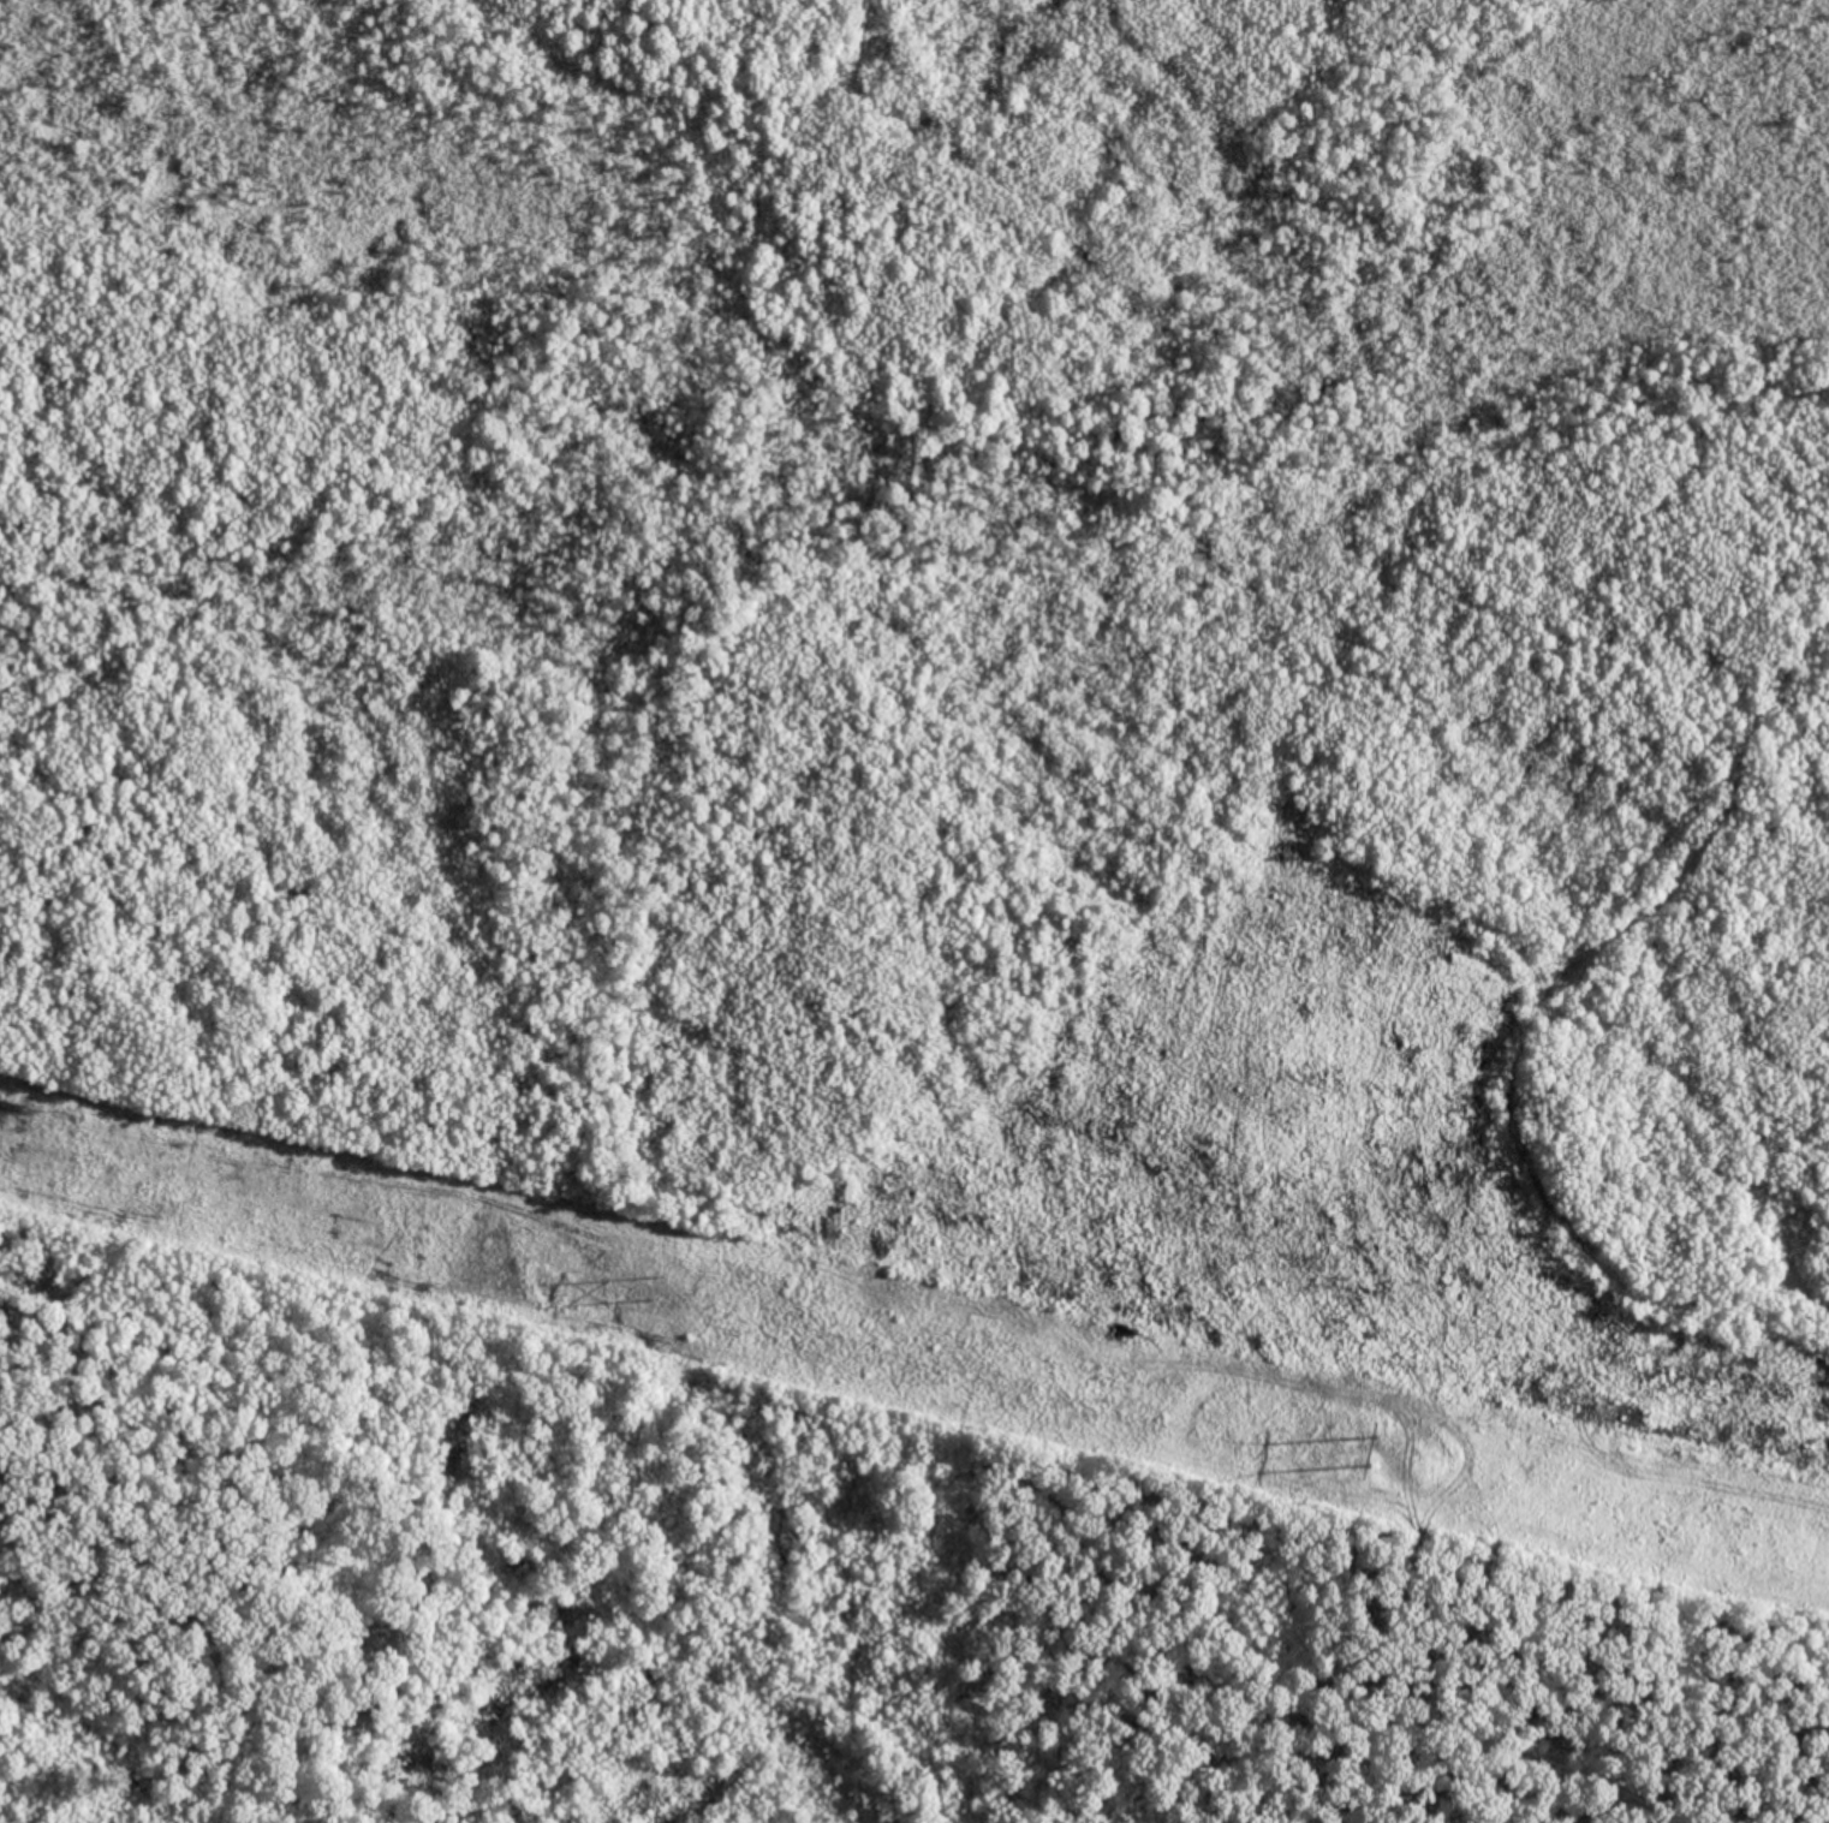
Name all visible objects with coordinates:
power tower: (660, 1289)
power tower: (1371, 1454)

